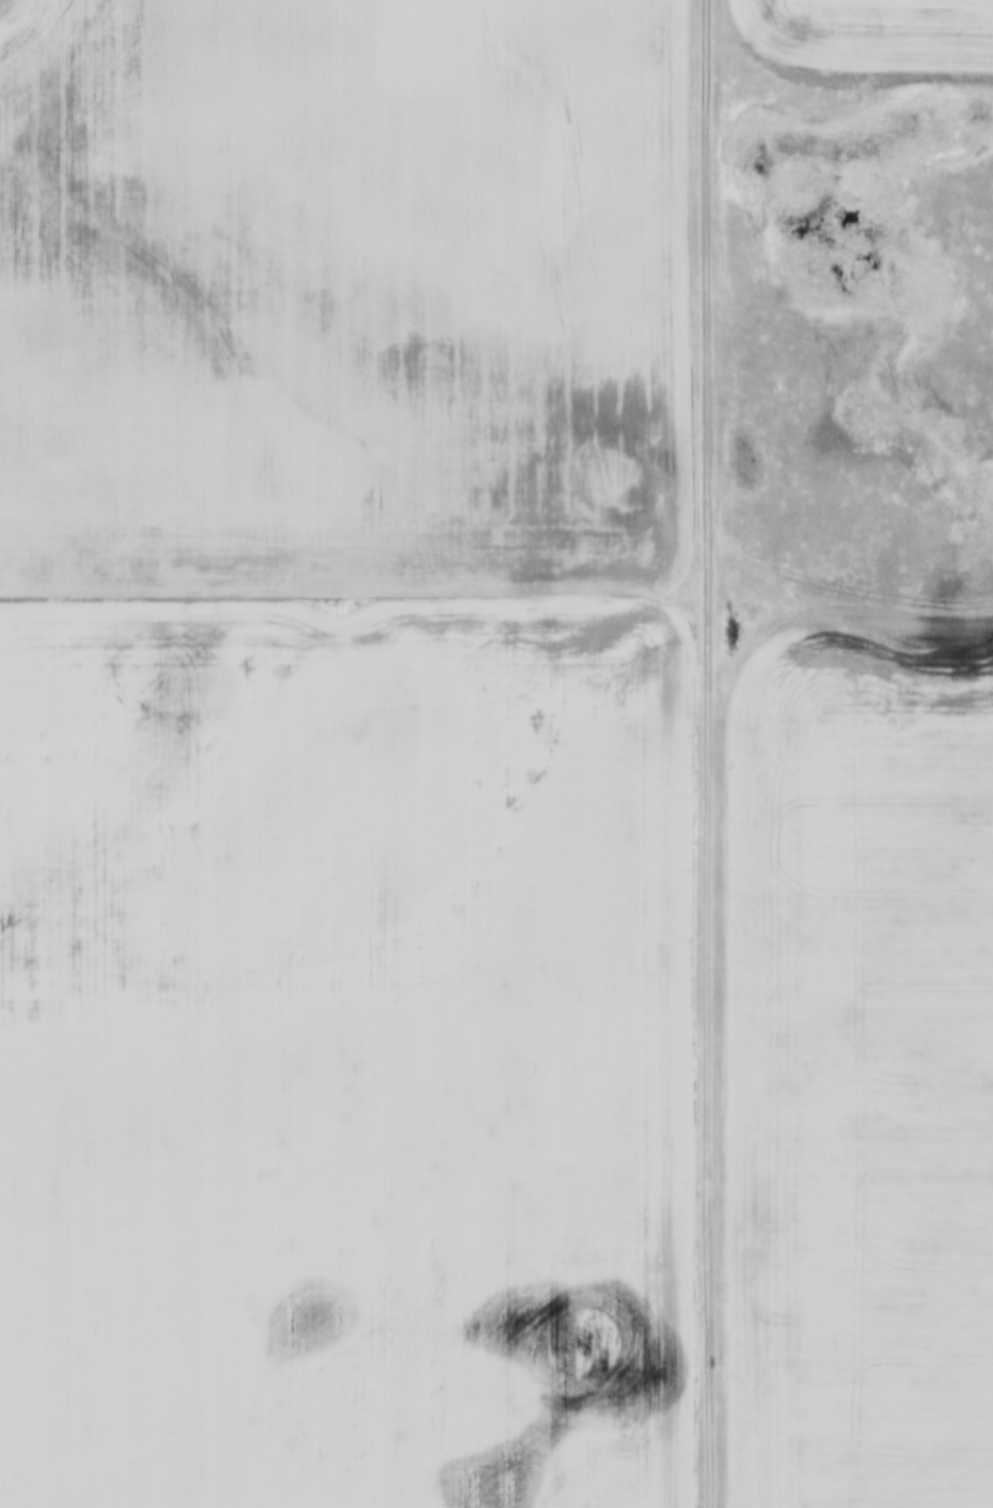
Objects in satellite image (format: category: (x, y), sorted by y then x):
road: (711, 753)

